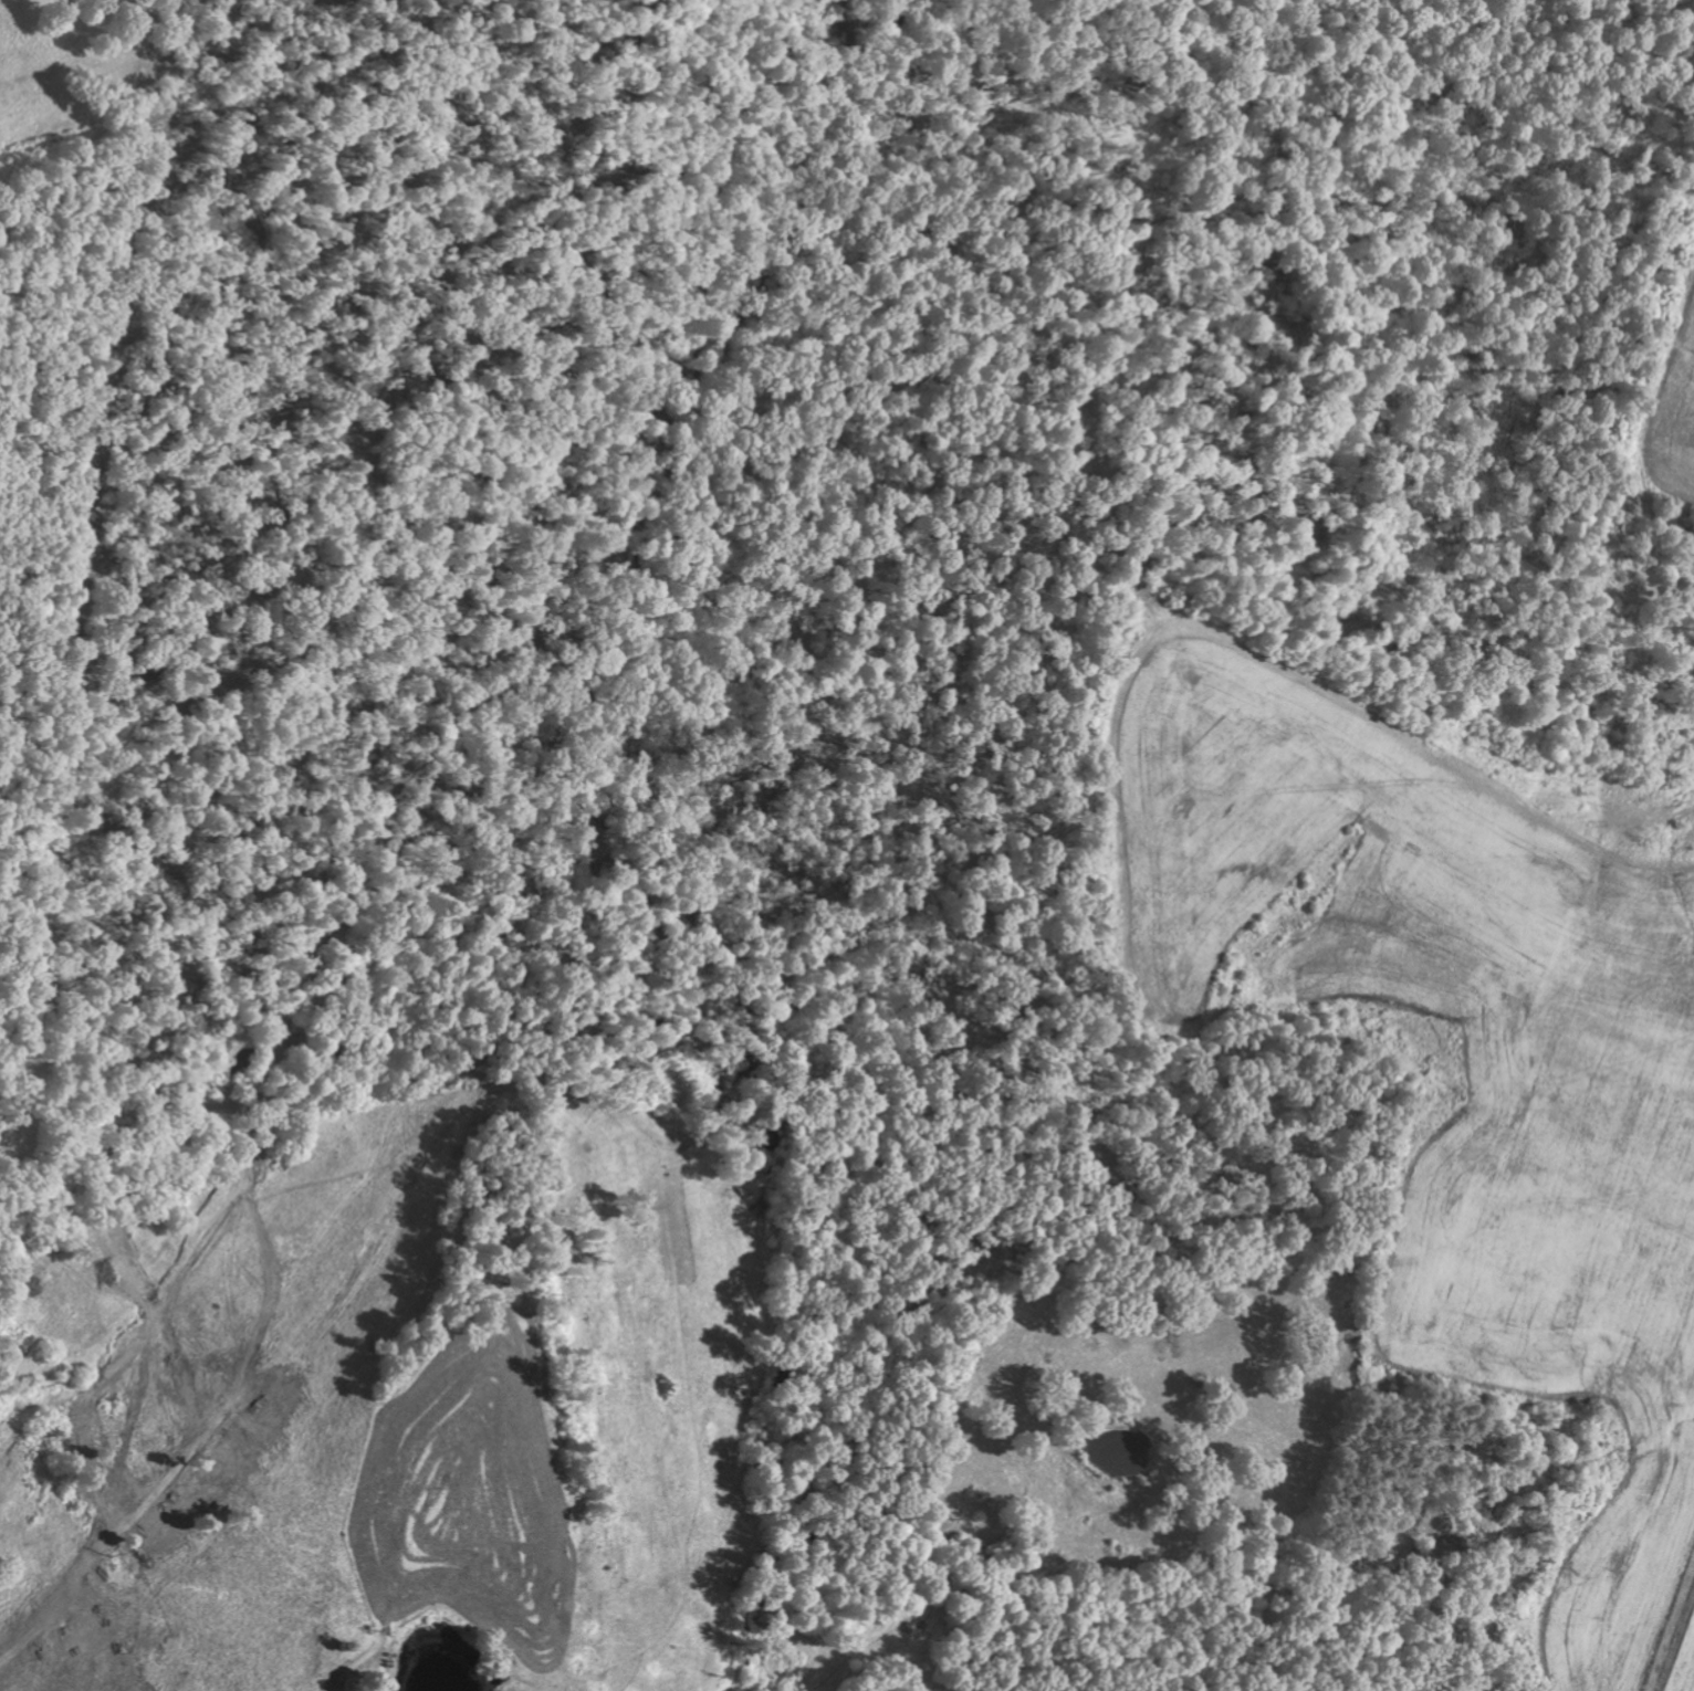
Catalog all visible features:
road: (1644, 1527)

